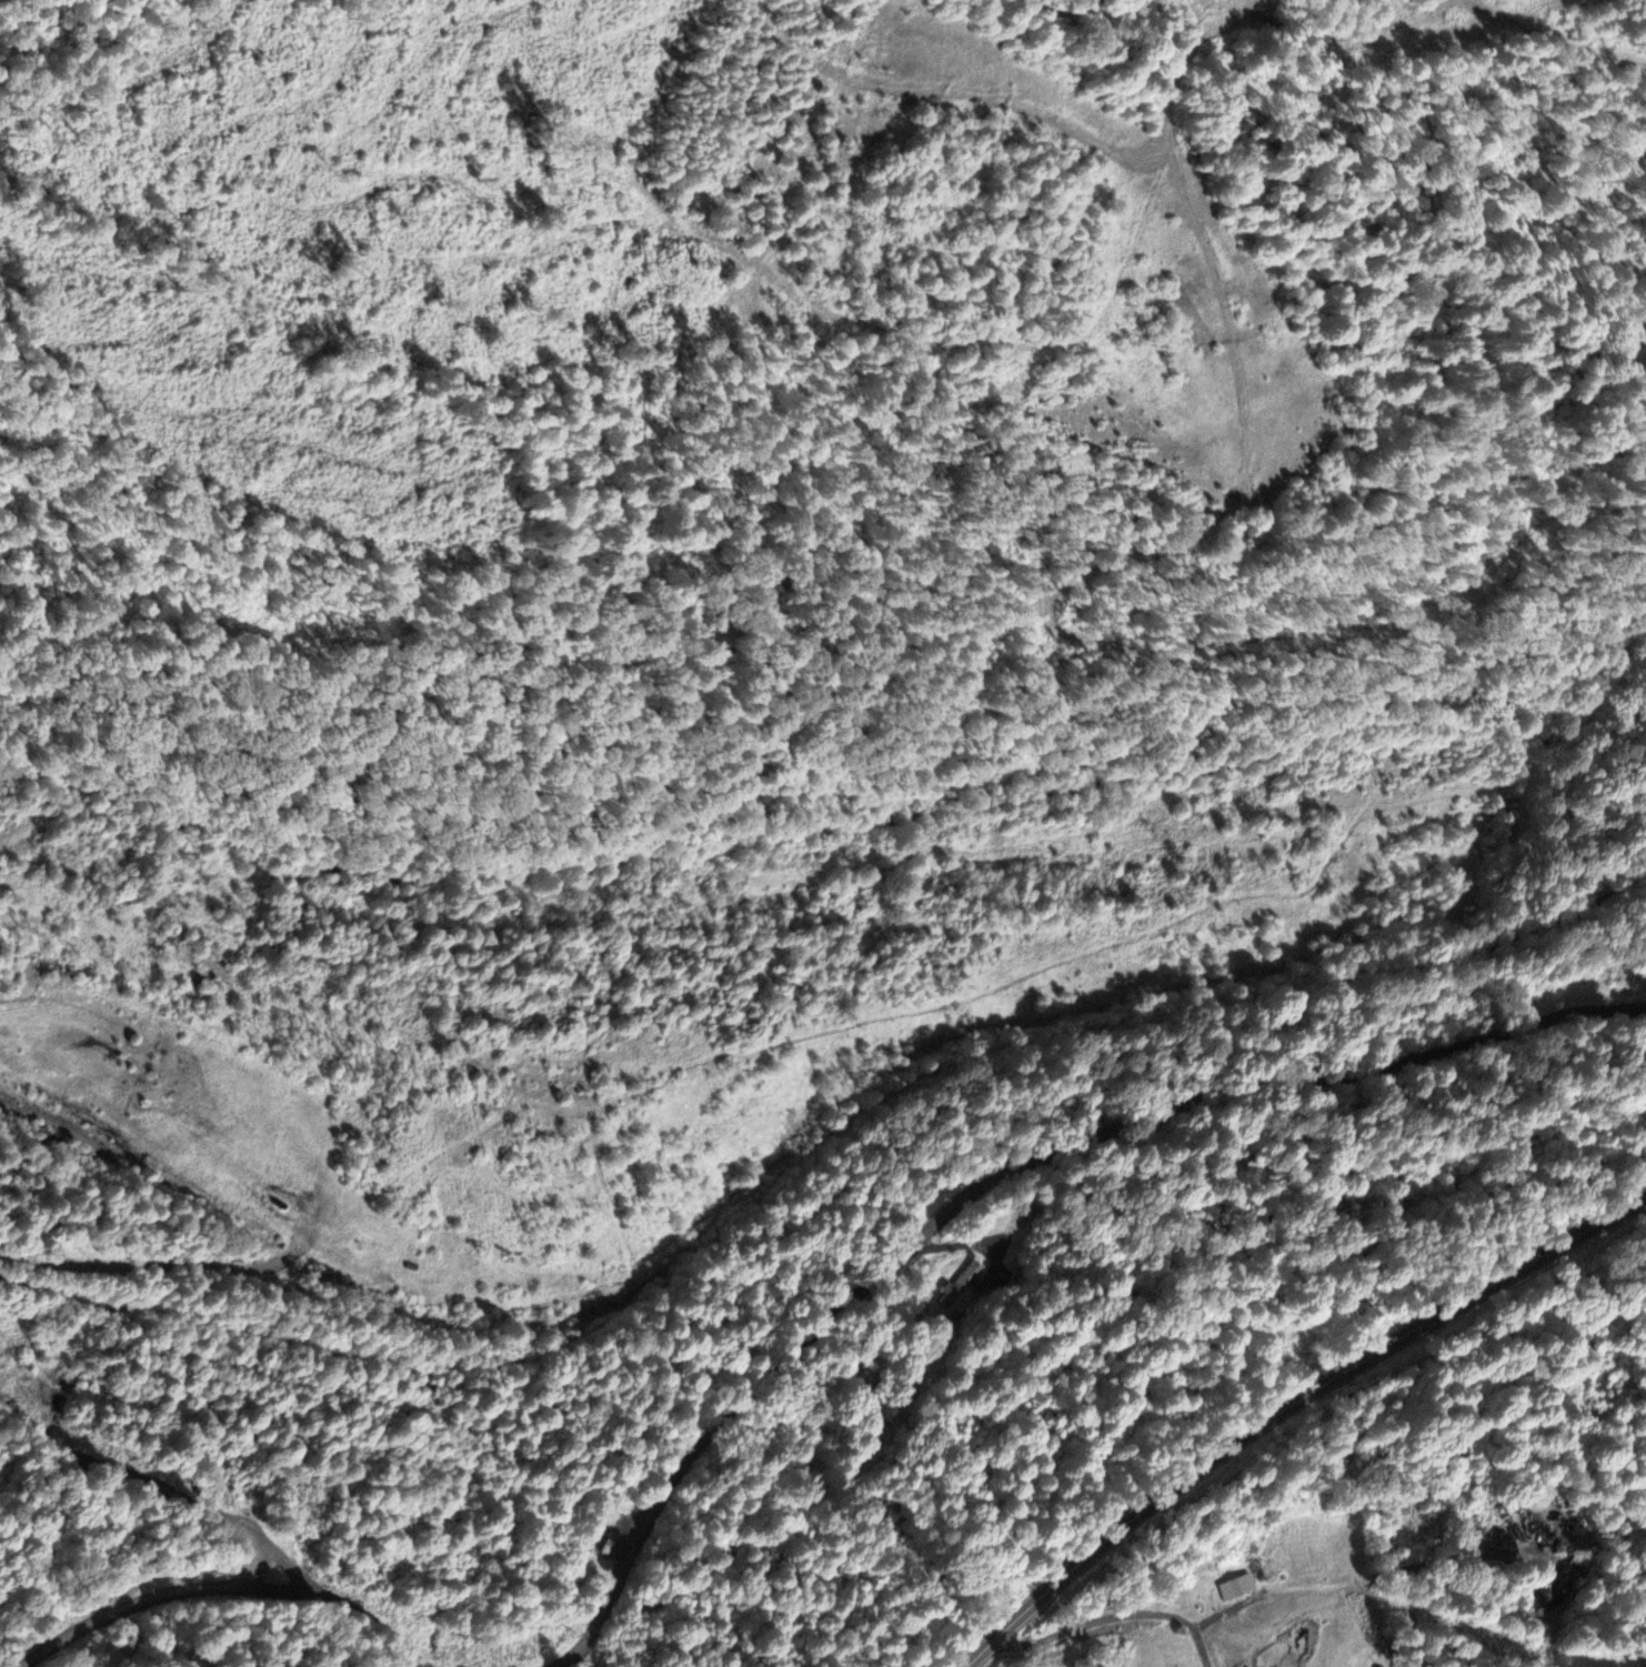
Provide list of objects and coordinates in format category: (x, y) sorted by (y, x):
road: (996, 1178)
road: (1288, 1409)
road: (152, 1485)
road: (231, 1583)

